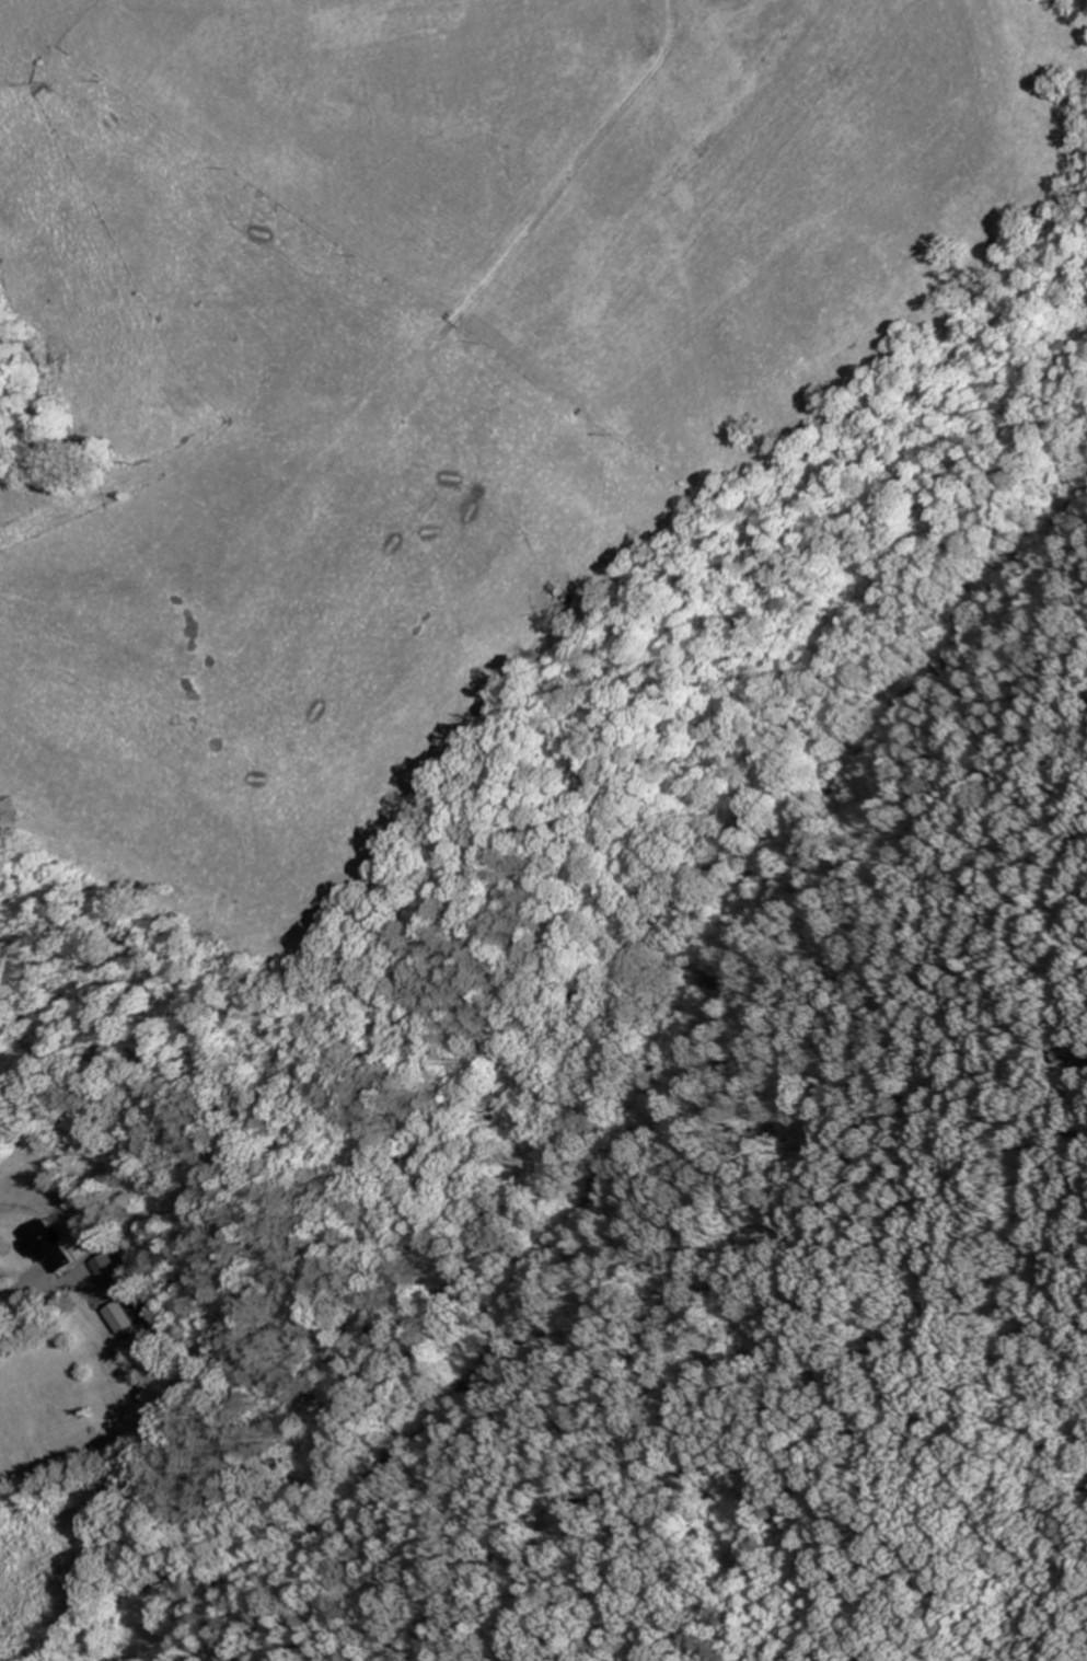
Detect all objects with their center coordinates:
road: (18, 537)
road: (696, 1218)
building: (45, 1247)
building: (102, 1266)
building: (119, 1317)

